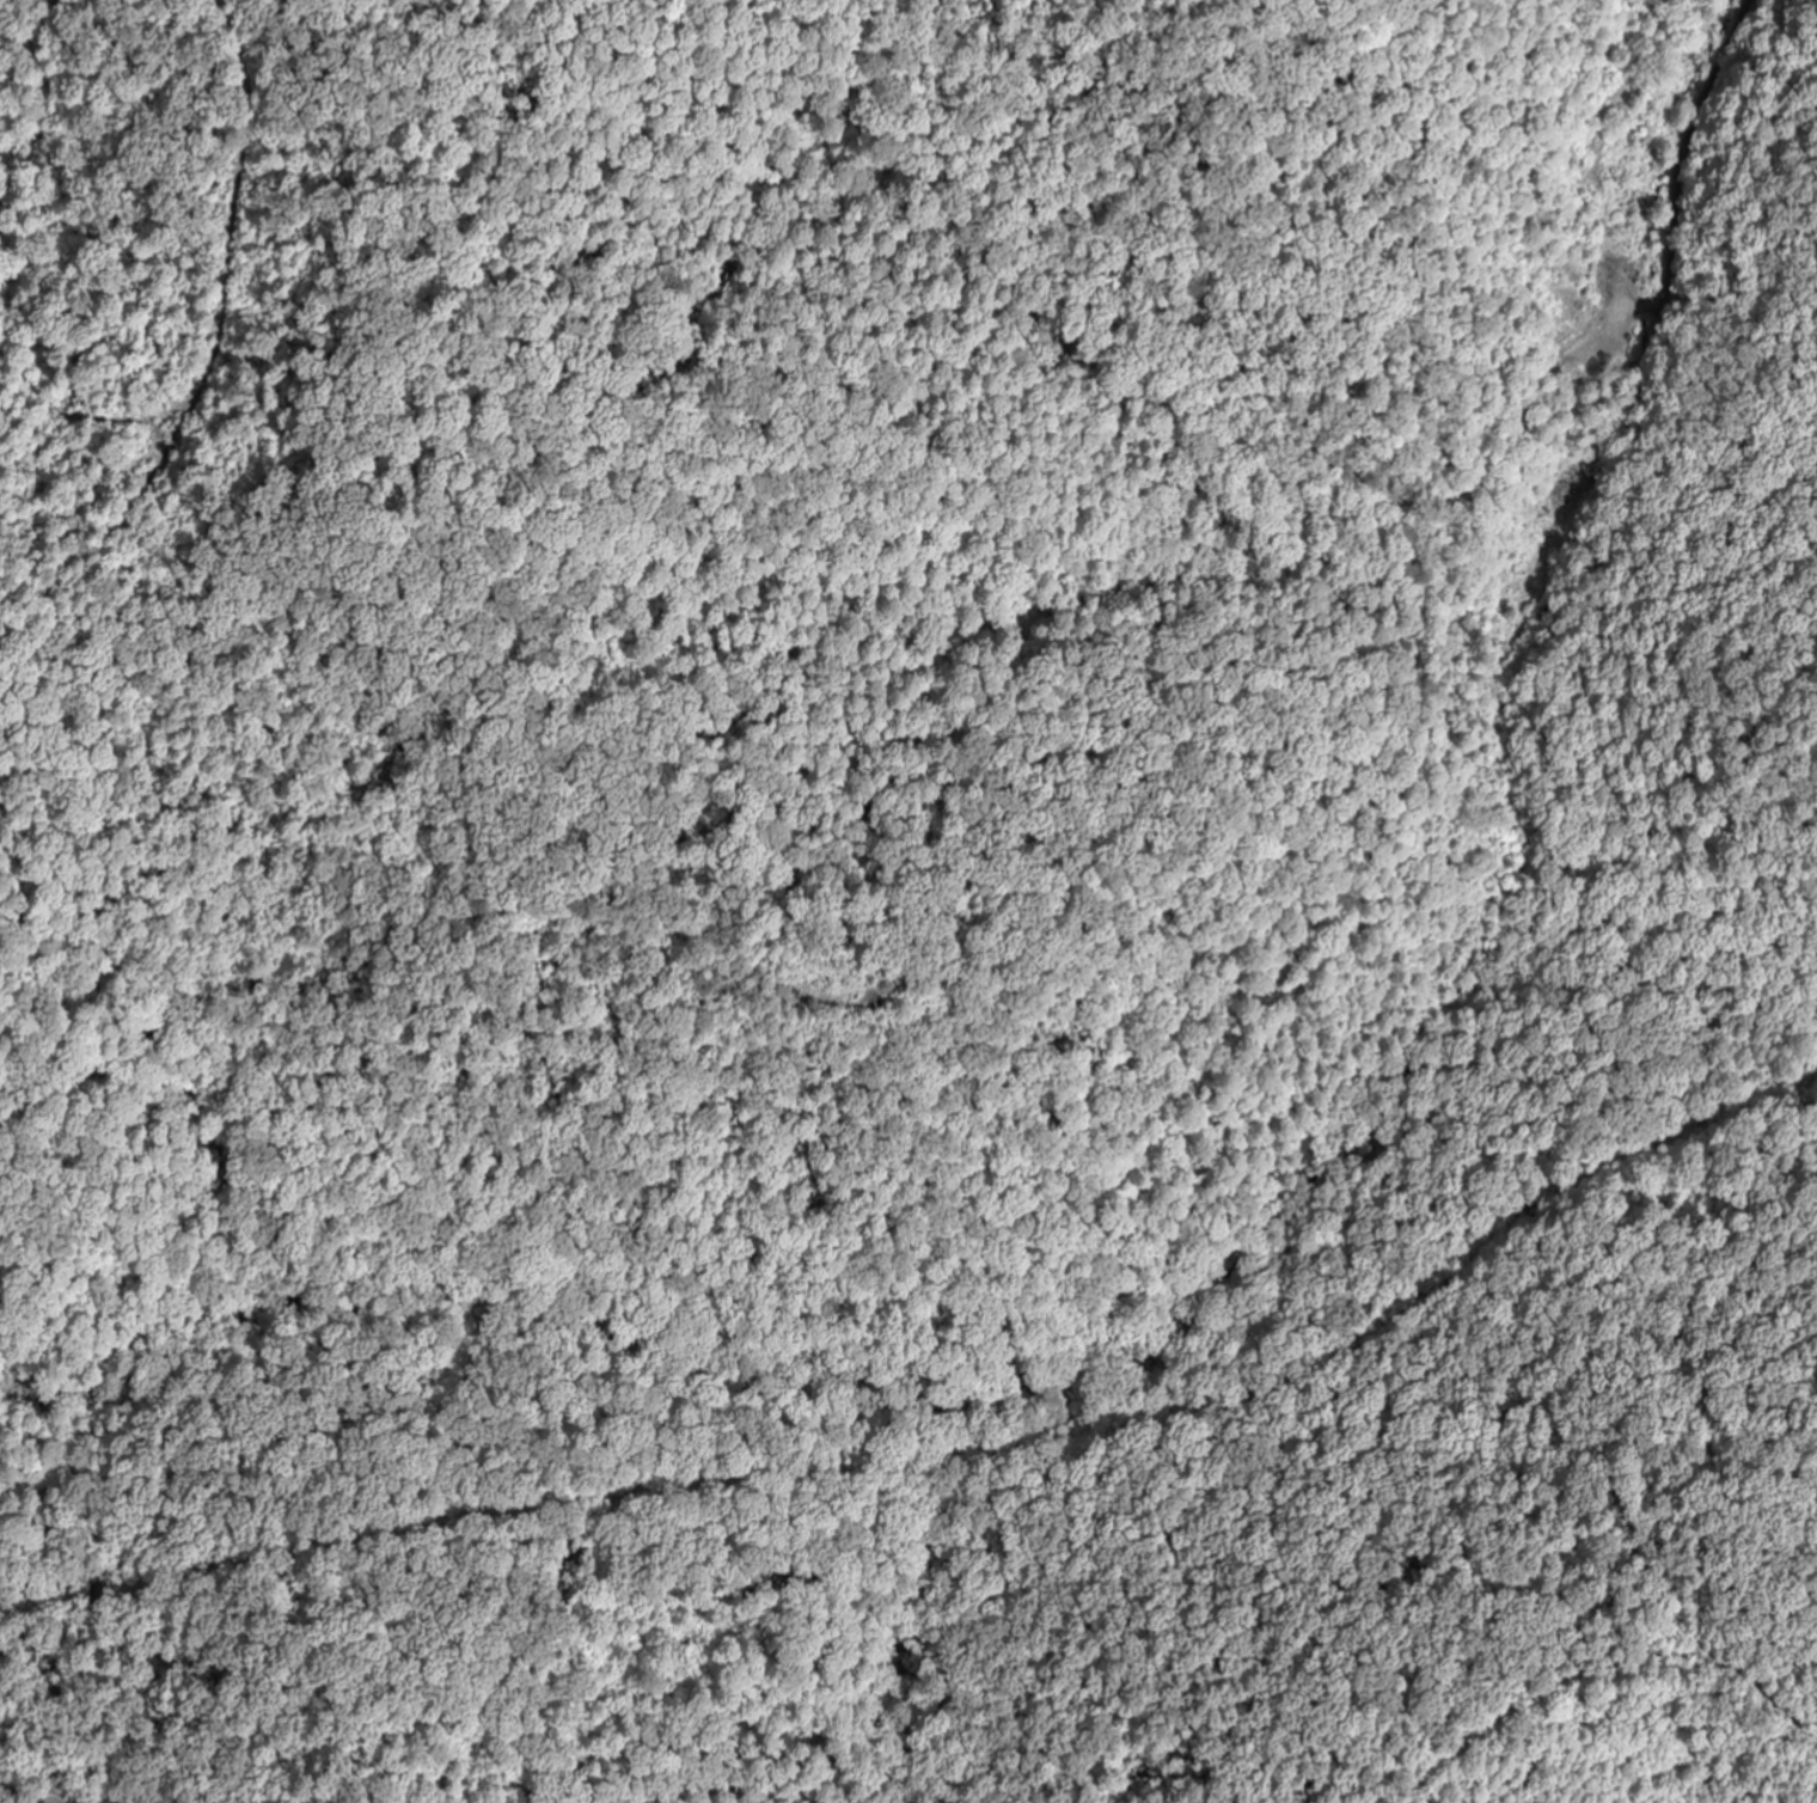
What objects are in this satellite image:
road: (1718, 65)

